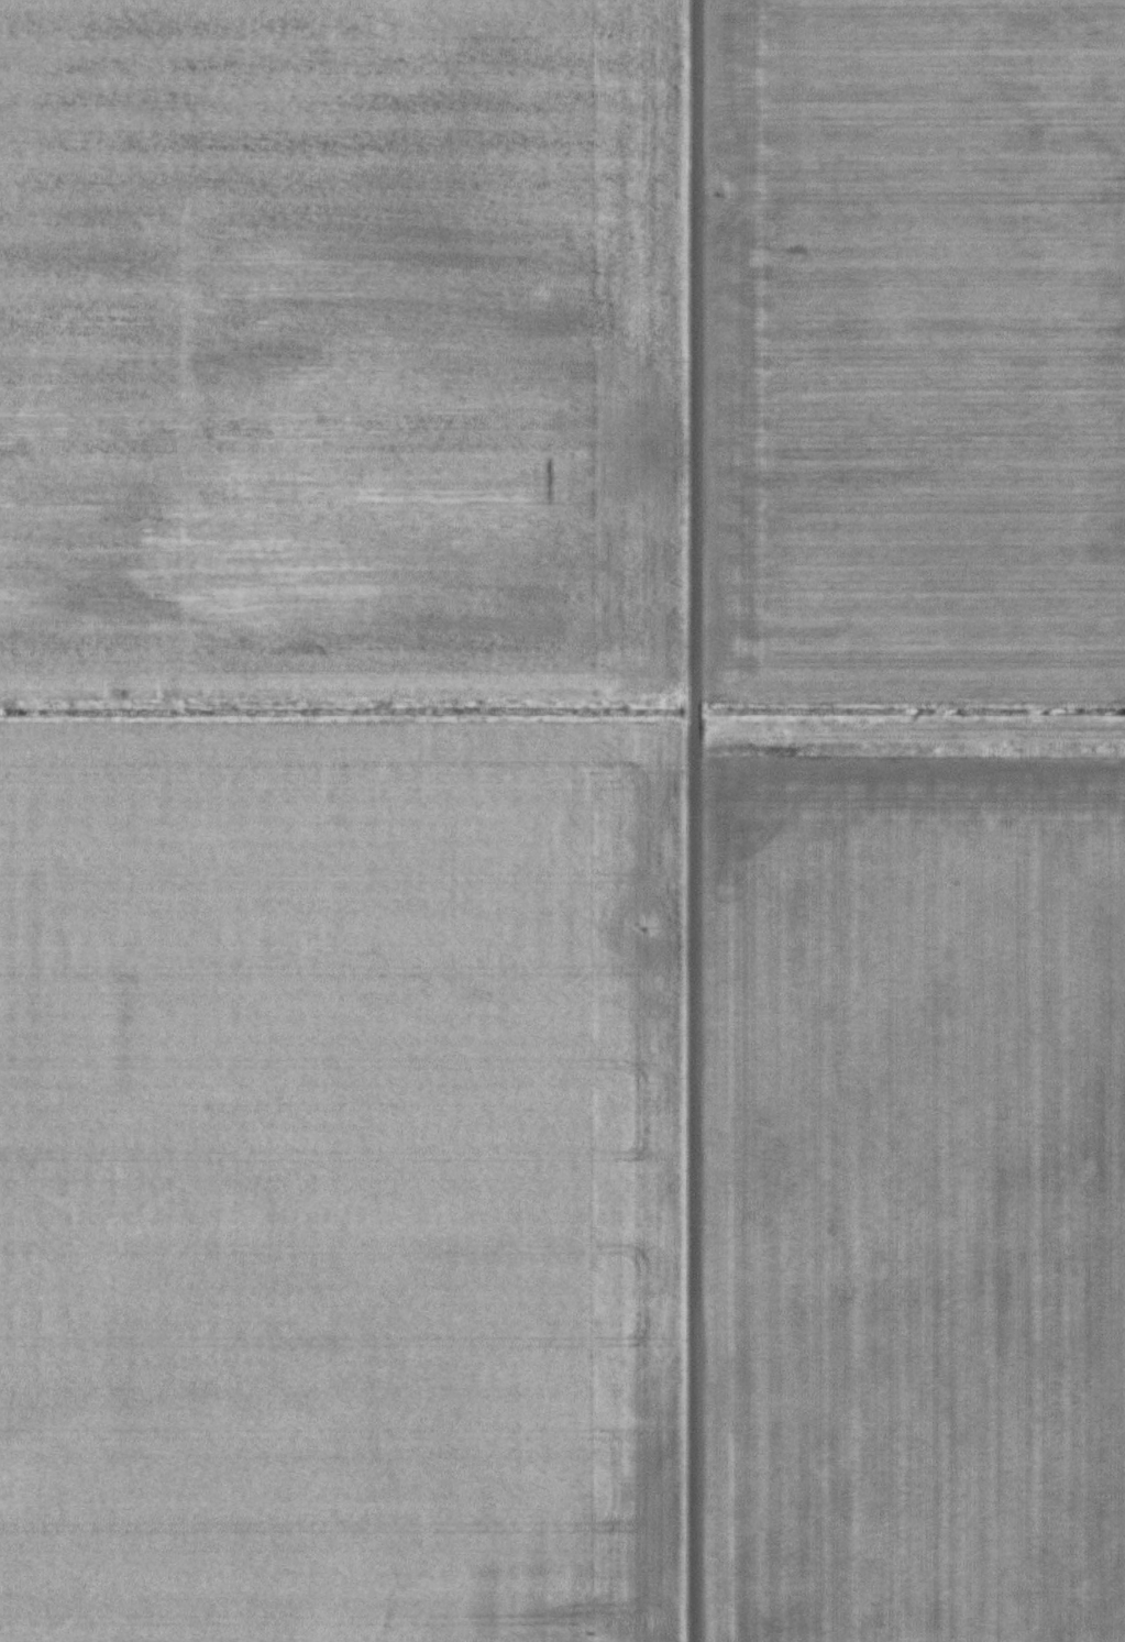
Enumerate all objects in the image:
road: (694, 820)

